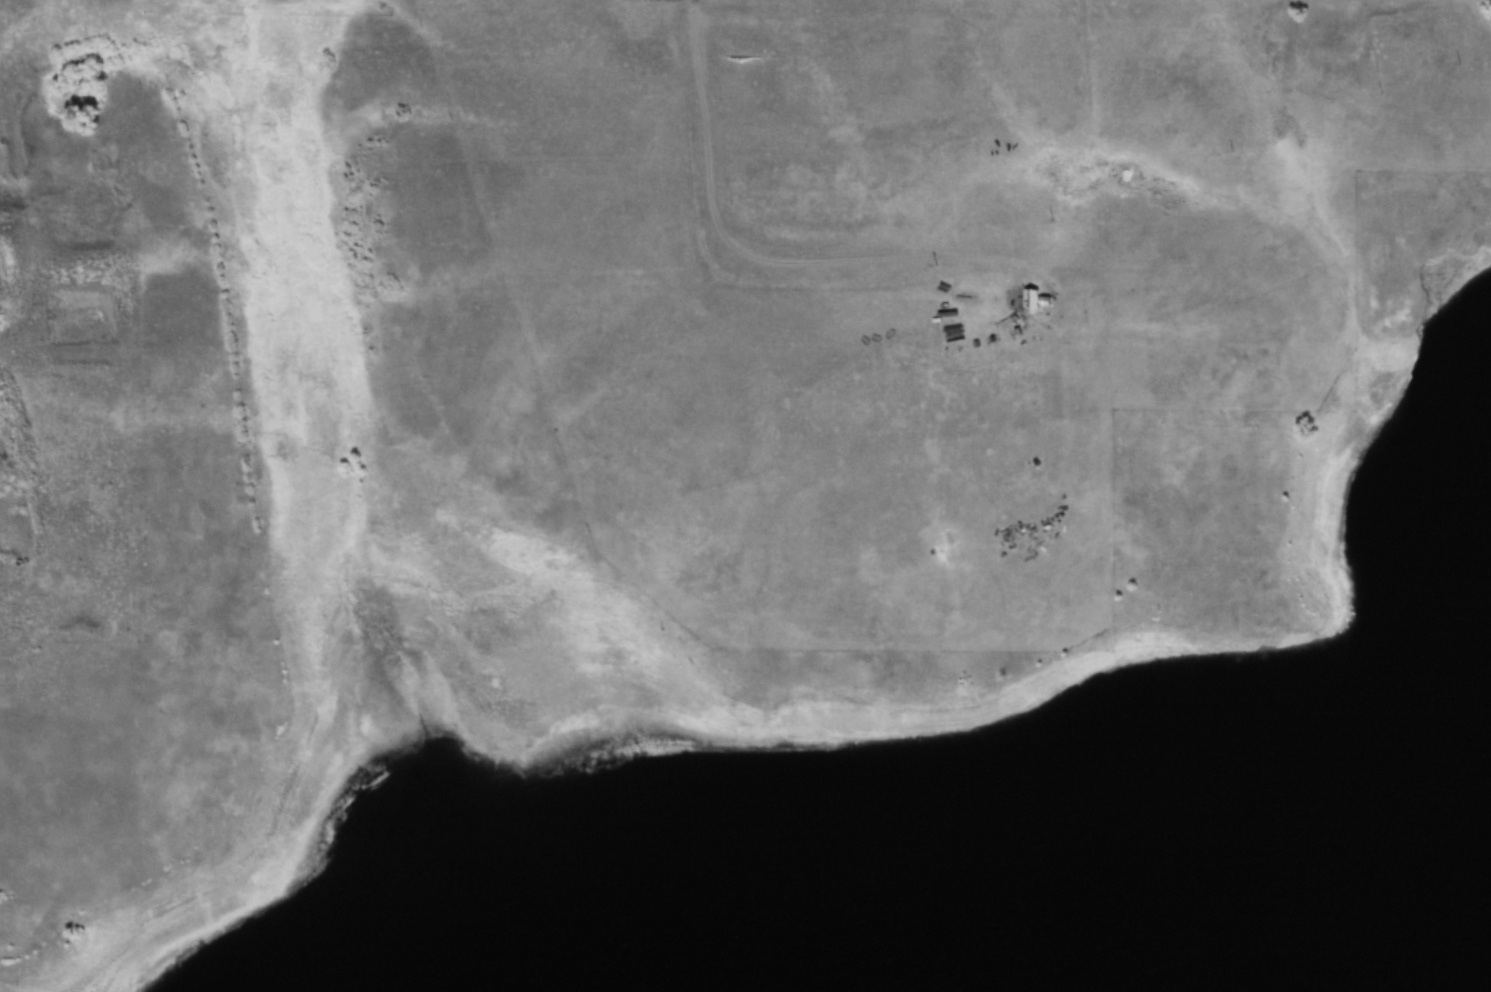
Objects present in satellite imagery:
building: (1031, 299)

